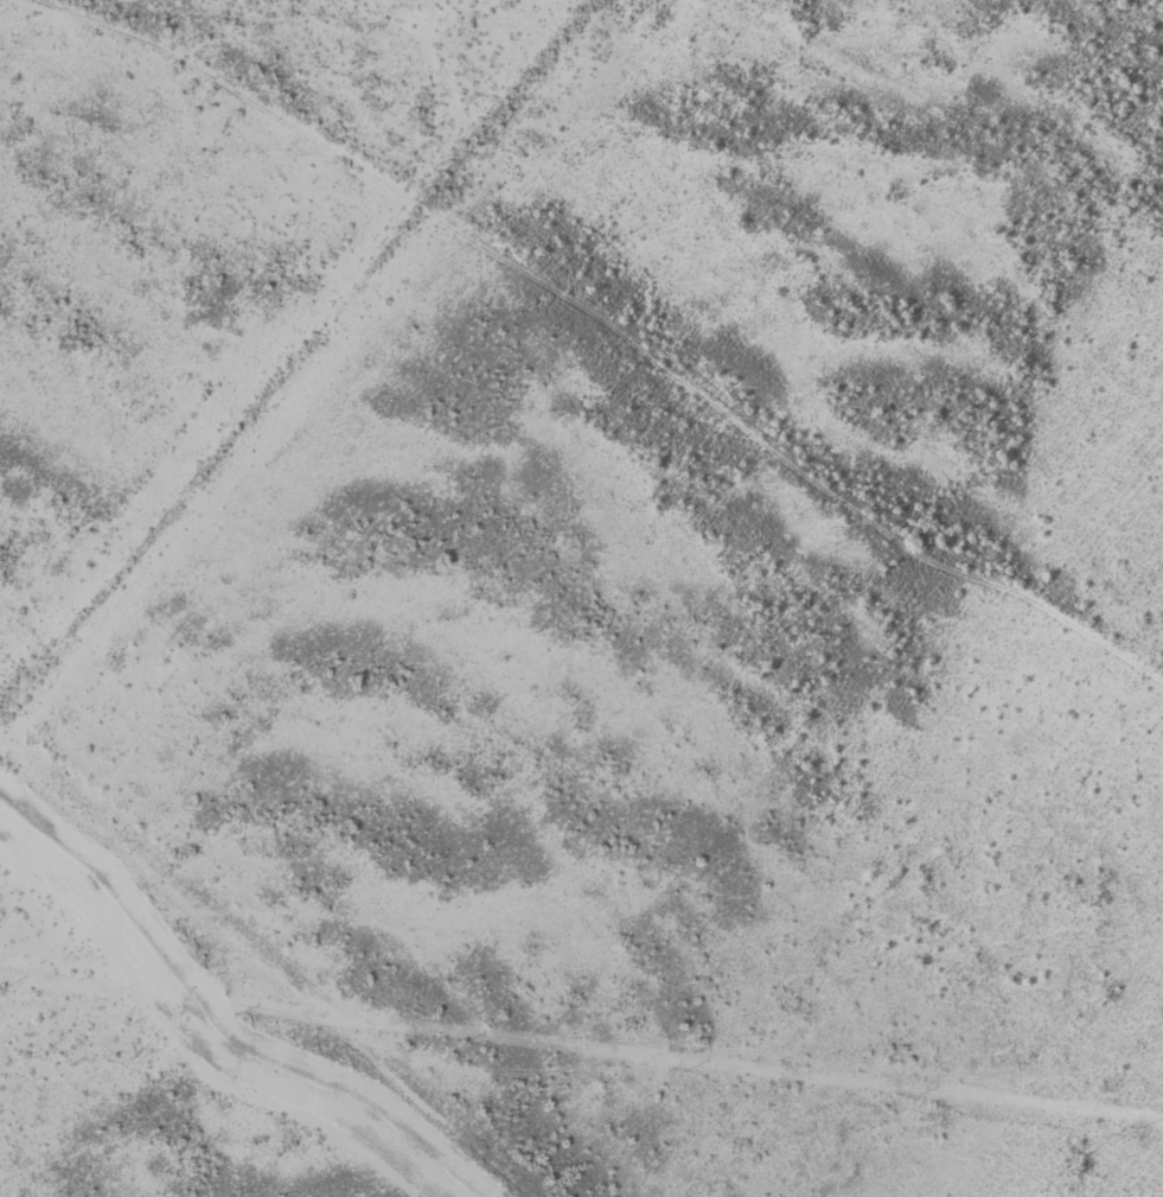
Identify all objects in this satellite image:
road: (211, 1029)

